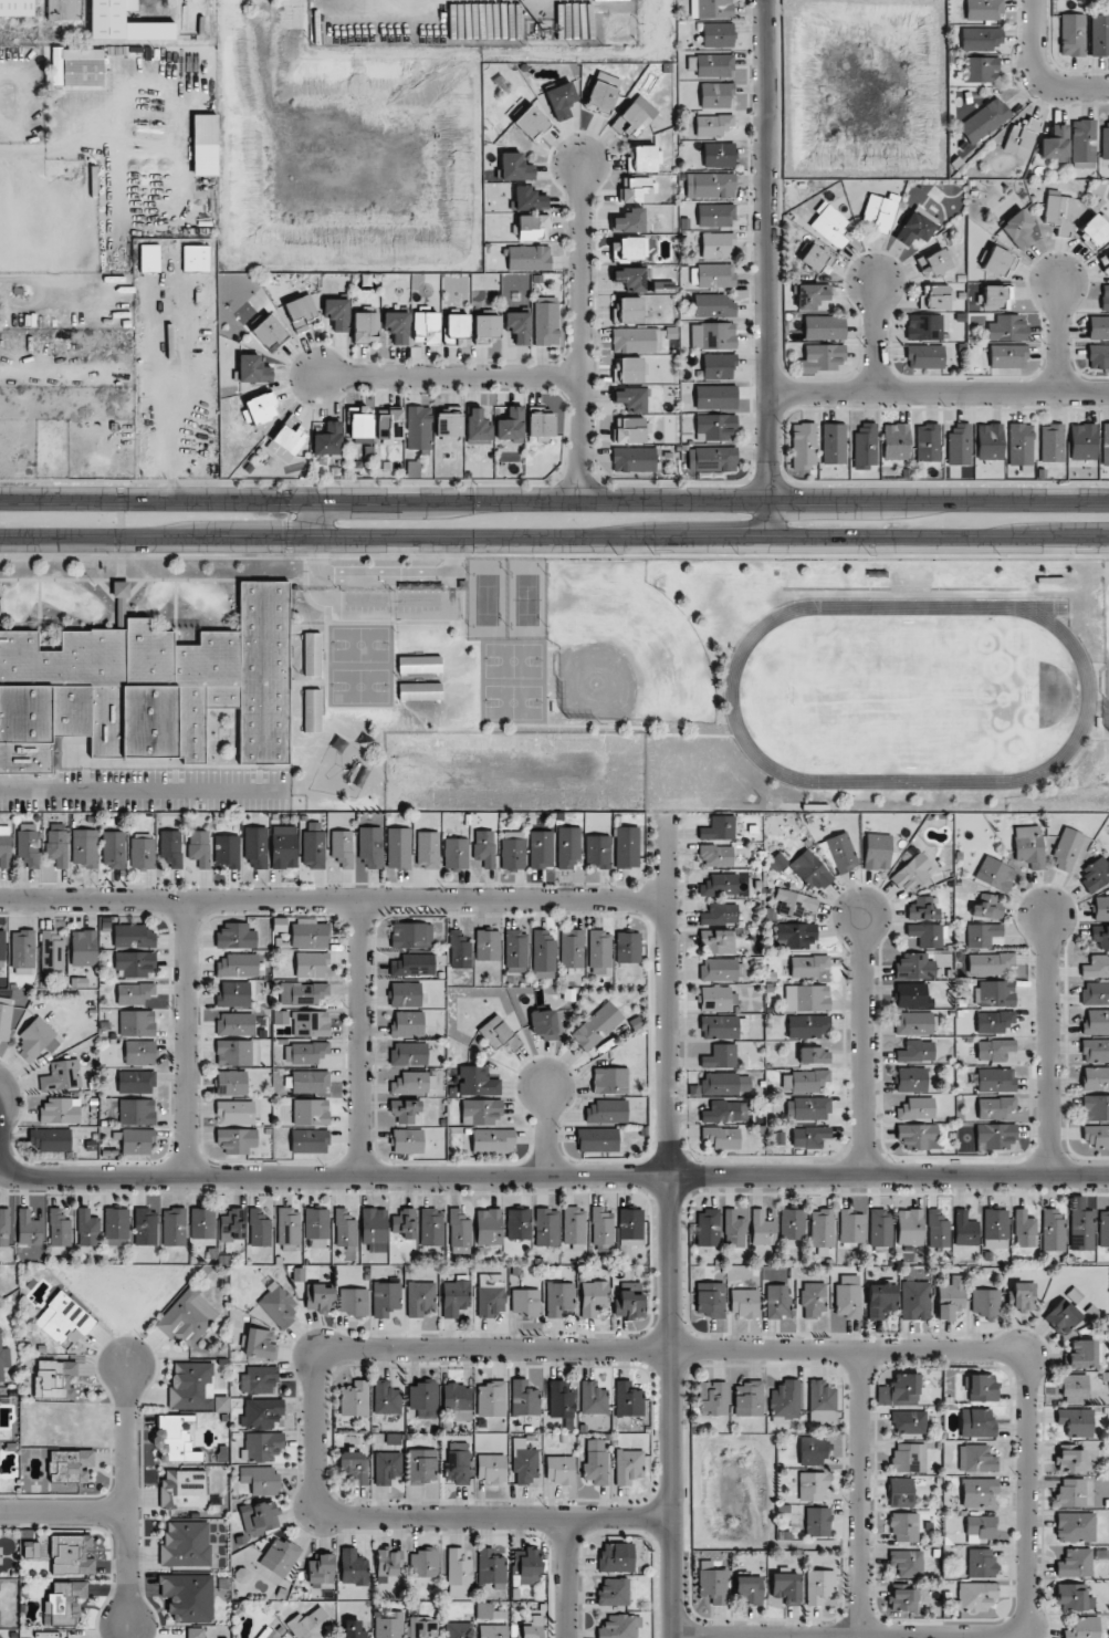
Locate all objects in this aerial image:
building: (17, 8)
road: (188, 8)
building: (711, 8)
building: (63, 10)
building: (984, 10)
building: (109, 18)
building: (718, 34)
building: (1073, 34)
building: (1099, 34)
building: (981, 39)
building: (56, 65)
building: (981, 69)
building: (82, 72)
road: (1037, 76)
building: (603, 93)
building: (715, 94)
building: (561, 100)
building: (636, 117)
building: (984, 121)
building: (532, 123)
building: (712, 124)
building: (1021, 138)
road: (77, 139)
building: (1055, 143)
building: (1084, 143)
building: (1106, 143)
building: (719, 155)
building: (646, 158)
building: (514, 167)
building: (710, 185)
building: (637, 189)
building: (529, 198)
building: (880, 211)
building: (1059, 212)
building: (715, 215)
building: (629, 221)
building: (830, 226)
building: (532, 227)
building: (913, 229)
building: (1017, 229)
building: (1094, 231)
building: (716, 244)
building: (630, 248)
building: (529, 258)
building: (816, 258)
building: (935, 261)
building: (997, 261)
building: (1105, 262)
road: (763, 269)
building: (715, 275)
building: (631, 278)
building: (812, 295)
building: (934, 296)
building: (996, 296)
building: (1105, 298)
building: (714, 305)
building: (631, 310)
building: (301, 312)
building: (337, 313)
building: (546, 321)
building: (396, 326)
building: (425, 326)
building: (517, 326)
building: (924, 326)
building: (365, 327)
building: (457, 327)
building: (487, 327)
building: (824, 327)
building: (1098, 327)
building: (1007, 328)
building: (269, 332)
road: (575, 332)
building: (713, 335)
road: (1053, 335)
building: (636, 338)
road: (870, 338)
building: (1008, 355)
building: (924, 356)
building: (1098, 356)
building: (822, 357)
building: (718, 365)
building: (631, 369)
building: (253, 371)
road: (446, 379)
road: (935, 393)
building: (715, 396)
building: (631, 399)
building: (261, 408)
building: (448, 422)
building: (358, 425)
building: (390, 425)
building: (716, 425)
building: (510, 426)
building: (418, 427)
building: (477, 427)
building: (540, 428)
building: (629, 429)
building: (287, 439)
building: (327, 439)
building: (896, 441)
building: (990, 441)
building: (1084, 441)
building: (927, 442)
building: (1052, 442)
building: (834, 444)
building: (1021, 444)
building: (1106, 445)
building: (803, 446)
building: (866, 446)
building: (634, 459)
building: (712, 459)
road: (554, 500)
road: (121, 518)
road: (316, 519)
road: (554, 538)
road: (384, 576)
building: (420, 586)
building: (121, 590)
park: (488, 599)
park: (527, 599)
building: (366, 602)
building: (418, 638)
park: (360, 644)
park: (1106, 645)
park: (622, 646)
building: (312, 654)
park: (513, 660)
building: (419, 664)
park: (360, 687)
building: (148, 688)
building: (419, 691)
track: (731, 692)
park: (513, 702)
building: (311, 710)
road: (145, 789)
building: (719, 828)
building: (29, 844)
building: (57, 844)
building: (4, 846)
building: (255, 846)
building: (313, 846)
building: (1029, 846)
building: (170, 847)
building: (199, 847)
building: (342, 847)
building: (369, 847)
building: (484, 847)
building: (567, 847)
building: (627, 847)
building: (398, 848)
building: (1067, 848)
building: (114, 849)
building: (427, 849)
building: (541, 849)
building: (84, 851)
building: (142, 851)
building: (283, 851)
building: (512, 851)
building: (597, 851)
building: (227, 852)
building: (841, 852)
building: (877, 852)
building: (456, 853)
building: (716, 855)
building: (777, 862)
building: (812, 870)
building: (912, 874)
building: (995, 874)
building: (1096, 874)
building: (719, 885)
road: (332, 899)
building: (795, 903)
building: (987, 907)
building: (1101, 907)
building: (921, 909)
building: (720, 914)
building: (312, 933)
building: (410, 935)
building: (795, 935)
building: (927, 935)
building: (982, 935)
building: (1100, 935)
building: (133, 936)
building: (236, 936)
building: (716, 941)
building: (2, 945)
building: (487, 945)
building: (628, 947)
building: (84, 948)
building: (515, 948)
building: (599, 948)
building: (572, 949)
building: (459, 950)
building: (52, 951)
building: (543, 951)
building: (23, 952)
building: (311, 963)
building: (990, 963)
building: (136, 964)
building: (409, 964)
building: (808, 964)
building: (238, 966)
building: (914, 967)
building: (1096, 967)
building: (721, 969)
building: (134, 993)
building: (308, 993)
building: (996, 993)
building: (1095, 993)
building: (233, 994)
building: (405, 994)
road: (666, 994)
building: (912, 995)
building: (716, 998)
building: (807, 998)
building: (4, 1019)
building: (994, 1021)
building: (1096, 1022)
building: (136, 1023)
building: (311, 1023)
building: (407, 1023)
building: (544, 1023)
building: (914, 1023)
building: (236, 1024)
building: (597, 1025)
building: (722, 1026)
building: (808, 1026)
building: (499, 1034)
road: (359, 1037)
road: (186, 1039)
building: (36, 1040)
road: (861, 1046)
road: (1053, 1047)
building: (995, 1050)
building: (916, 1051)
building: (1095, 1051)
building: (305, 1052)
building: (139, 1053)
building: (233, 1053)
building: (409, 1053)
building: (813, 1055)
building: (720, 1056)
building: (61, 1076)
building: (1095, 1078)
building: (610, 1079)
building: (911, 1079)
building: (996, 1079)
building: (804, 1081)
building: (136, 1082)
building: (310, 1082)
building: (477, 1082)
building: (231, 1083)
building: (414, 1083)
building: (725, 1084)
building: (996, 1107)
building: (1096, 1107)
building: (807, 1108)
building: (917, 1108)
building: (60, 1110)
building: (404, 1110)
building: (725, 1110)
building: (136, 1112)
building: (236, 1112)
building: (311, 1112)
building: (480, 1112)
building: (605, 1112)
road: (545, 1130)
building: (809, 1136)
building: (919, 1136)
building: (995, 1136)
building: (1096, 1136)
building: (720, 1138)
building: (50, 1139)
building: (597, 1139)
building: (137, 1140)
building: (237, 1140)
building: (308, 1140)
building: (407, 1140)
building: (493, 1140)
road: (889, 1175)
road: (333, 1176)
building: (202, 1223)
building: (405, 1223)
building: (519, 1223)
building: (232, 1224)
building: (792, 1224)
building: (1081, 1225)
building: (4, 1227)
building: (116, 1227)
building: (145, 1227)
building: (174, 1227)
building: (431, 1227)
building: (488, 1227)
building: (546, 1227)
building: (574, 1227)
building: (600, 1227)
building: (708, 1227)
building: (851, 1227)
building: (910, 1227)
building: (259, 1228)
building: (316, 1228)
building: (822, 1228)
building: (880, 1228)
building: (1103, 1228)
building: (29, 1229)
building: (60, 1229)
building: (87, 1229)
building: (287, 1229)
building: (374, 1229)
building: (459, 1229)
building: (733, 1229)
building: (762, 1229)
building: (938, 1229)
building: (964, 1229)
building: (995, 1229)
building: (1024, 1229)
building: (1053, 1229)
building: (345, 1230)
building: (629, 1231)
building: (490, 1294)
building: (1022, 1295)
building: (847, 1296)
building: (318, 1297)
building: (419, 1297)
building: (594, 1297)
building: (951, 1297)
building: (385, 1298)
building: (558, 1298)
building: (710, 1298)
building: (814, 1298)
building: (456, 1300)
building: (628, 1300)
building: (880, 1300)
building: (916, 1300)
building: (777, 1301)
building: (353, 1302)
building: (525, 1302)
building: (744, 1302)
building: (985, 1302)
building: (278, 1306)
building: (1065, 1312)
building: (187, 1318)
building: (64, 1319)
building: (260, 1346)
building: (1081, 1354)
building: (3, 1359)
building: (70, 1368)
building: (261, 1379)
building: (191, 1386)
building: (906, 1387)
building: (981, 1387)
building: (1074, 1388)
building: (422, 1396)
building: (386, 1397)
building: (491, 1398)
building: (524, 1398)
building: (593, 1398)
building: (712, 1398)
building: (749, 1398)
building: (355, 1399)
building: (628, 1399)
building: (458, 1400)
building: (785, 1400)
building: (561, 1401)
building: (822, 1401)
road: (672, 1407)
building: (261, 1413)
building: (909, 1421)
building: (1076, 1421)
building: (976, 1422)
road: (315, 1430)
building: (175, 1439)
building: (261, 1447)
building: (909, 1457)
building: (976, 1459)
building: (1070, 1459)
building: (457, 1462)
building: (596, 1462)
building: (523, 1463)
building: (354, 1464)
building: (70, 1465)
building: (422, 1465)
building: (628, 1465)
building: (387, 1467)
building: (491, 1468)
building: (559, 1469)
building: (264, 1481)
building: (812, 1485)
building: (182, 1489)
building: (977, 1491)
road: (1025, 1491)
building: (901, 1492)
road: (860, 1493)
building: (1071, 1493)
road: (125, 1495)
road: (62, 1516)
building: (259, 1517)
building: (817, 1522)
building: (981, 1525)
building: (903, 1526)
building: (1076, 1526)
building: (186, 1544)
building: (69, 1557)
building: (280, 1557)
building: (616, 1557)
building: (389, 1562)
building: (423, 1562)
building: (981, 1562)
building: (907, 1563)
building: (1075, 1563)
building: (525, 1565)
building: (491, 1566)
building: (352, 1567)
building: (321, 1568)
building: (459, 1572)
road: (568, 1577)
building: (712, 1580)
building: (819, 1586)
building: (786, 1587)
building: (747, 1589)
building: (613, 1592)
building: (974, 1596)
building: (1073, 1597)
building: (903, 1599)
building: (65, 1602)
building: (483, 1609)
building: (312, 1625)
building: (388, 1626)
building: (422, 1627)
building: (619, 1627)
building: (529, 1628)
building: (1082, 1628)
building: (354, 1629)
building: (458, 1629)
building: (492, 1630)
building: (269, 1634)
building: (1, 1636)

